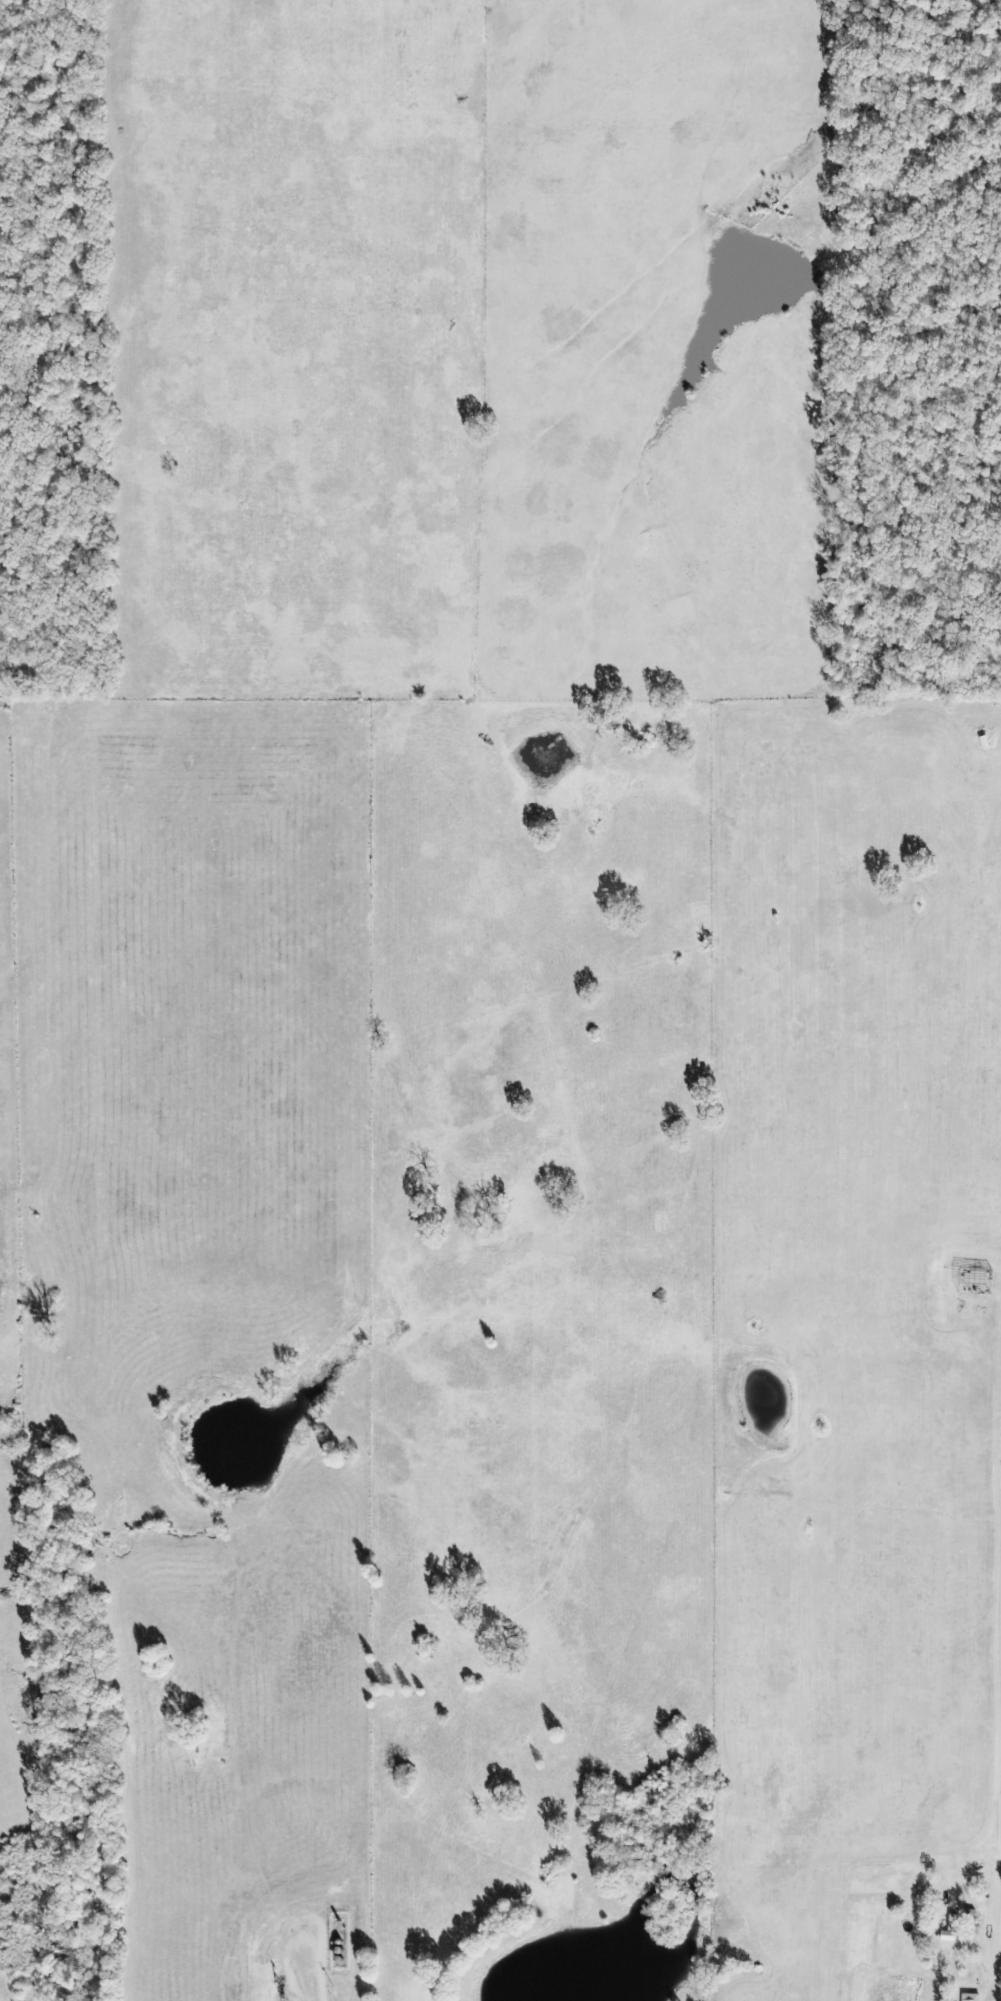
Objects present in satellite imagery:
building: (971, 1998)

